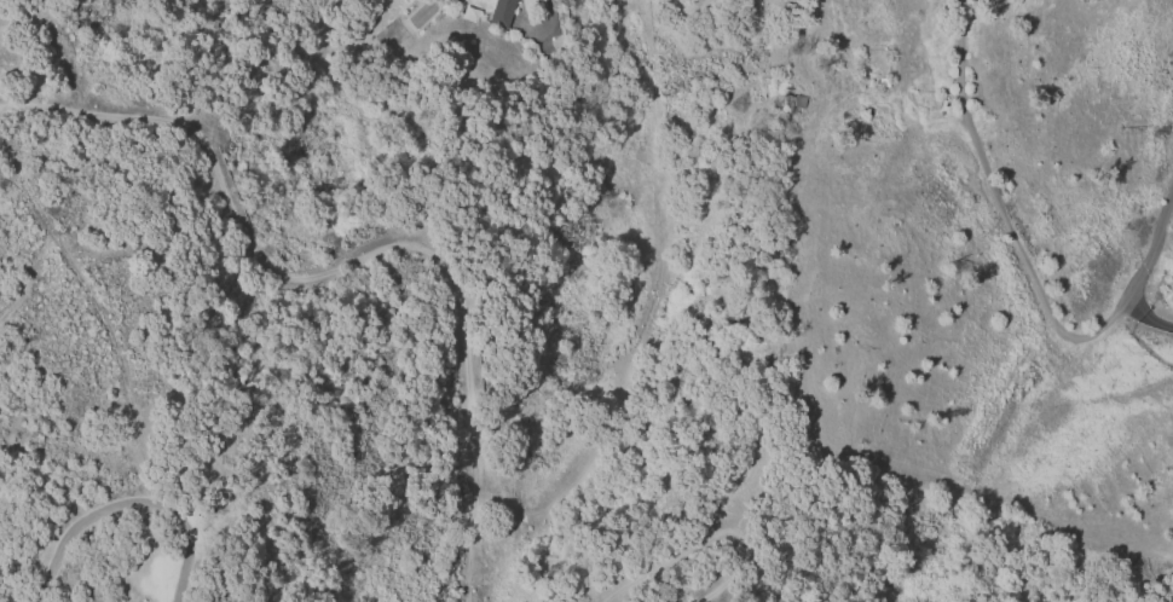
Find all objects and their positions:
building: (502, 12)
road: (551, 18)
road: (63, 57)
road: (46, 106)
building: (879, 122)
road: (1025, 265)
road: (1146, 316)
road: (468, 399)

